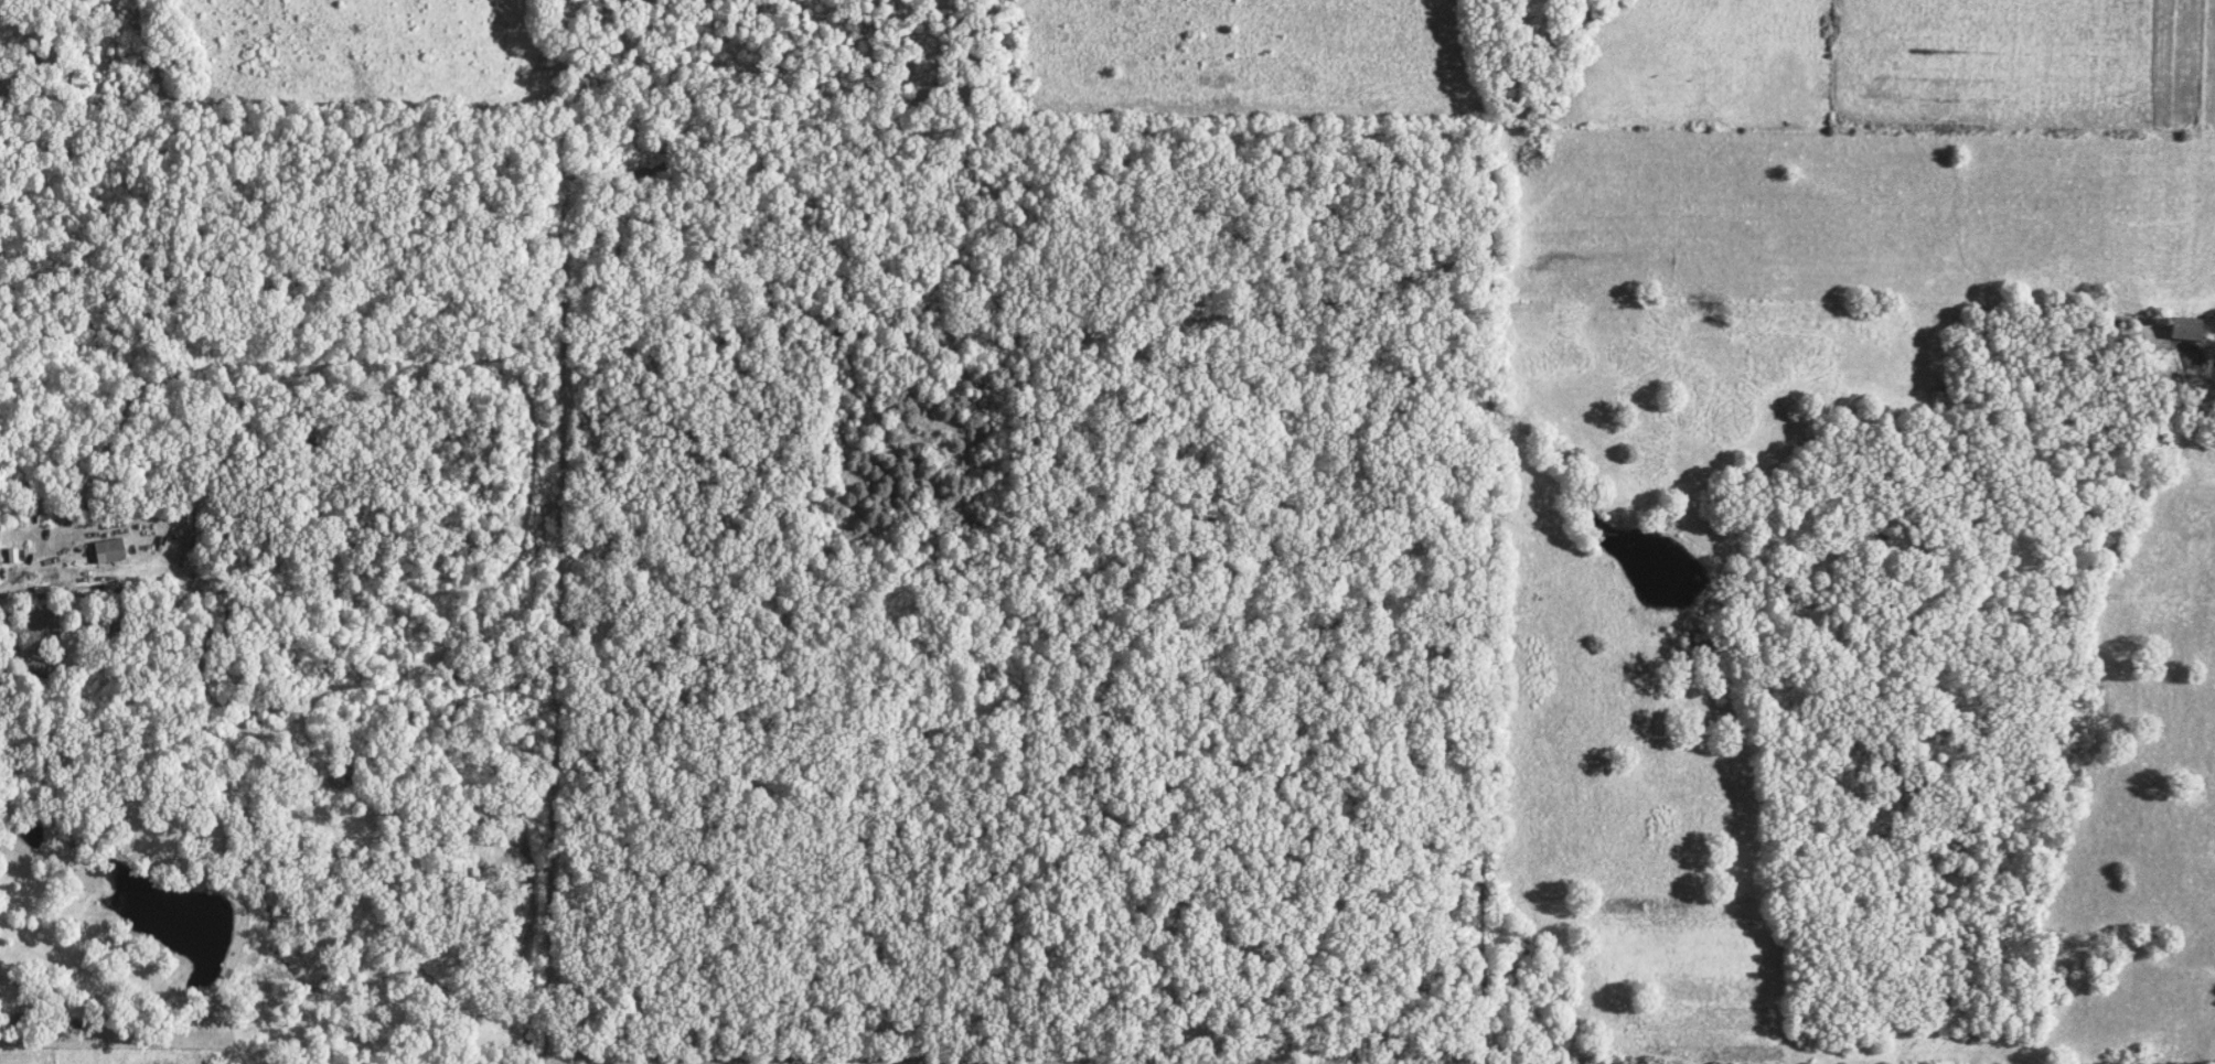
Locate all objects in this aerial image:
road: (2154, 423)
building: (108, 551)
road: (34, 563)

